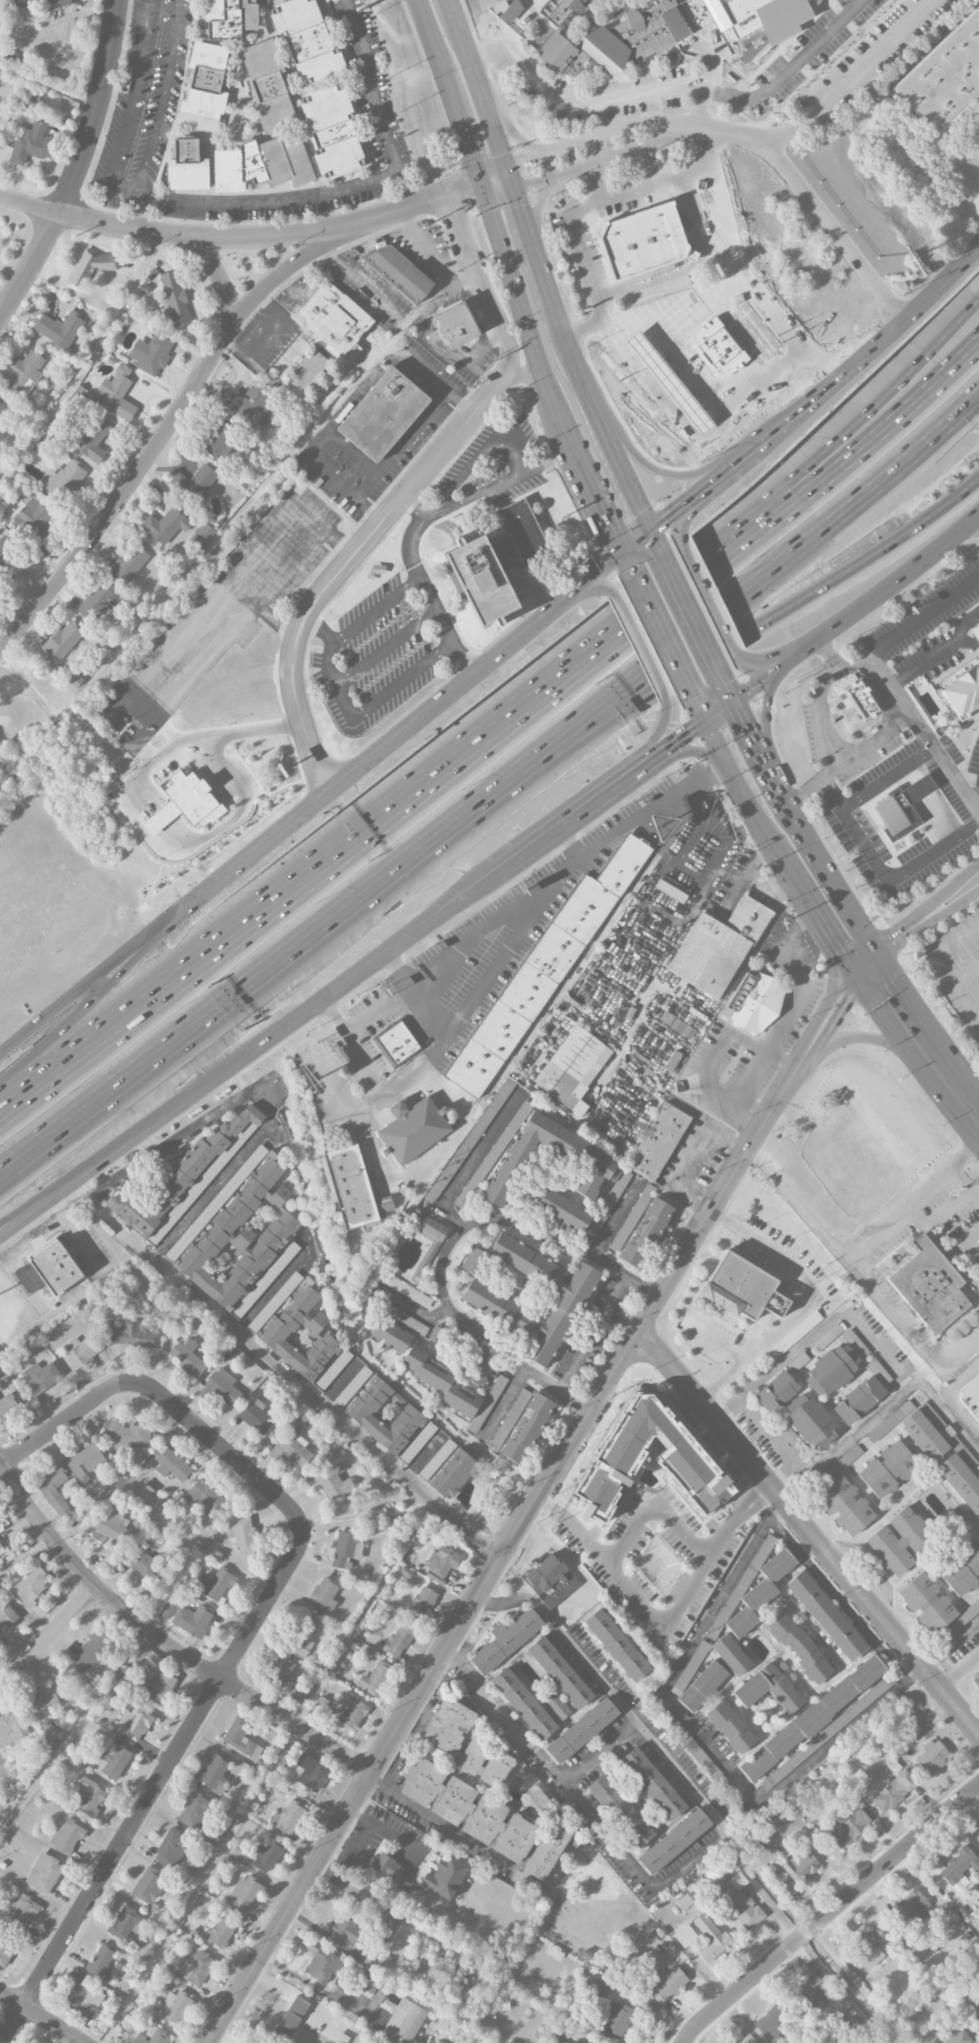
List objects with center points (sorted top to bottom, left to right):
building: (47, 3)
building: (508, 10)
building: (564, 12)
building: (230, 18)
road: (826, 33)
building: (636, 35)
building: (307, 41)
building: (559, 54)
building: (667, 55)
road: (862, 62)
building: (945, 76)
building: (268, 86)
building: (203, 89)
road: (161, 98)
road: (606, 98)
road: (698, 106)
building: (332, 130)
road: (512, 134)
road: (780, 136)
road: (593, 138)
building: (31, 143)
road: (707, 149)
road: (701, 152)
traffic signals: (472, 157)
traffic signals: (529, 159)
road: (599, 161)
road: (78, 163)
building: (262, 164)
building: (187, 166)
road: (598, 169)
road: (597, 182)
road: (642, 183)
road: (466, 188)
traffic signals: (463, 190)
road: (641, 190)
road: (810, 200)
road: (247, 202)
traffic signals: (521, 205)
road: (540, 206)
road: (211, 236)
building: (643, 240)
road: (582, 244)
building: (90, 267)
road: (541, 268)
road: (287, 270)
building: (399, 273)
road: (649, 276)
road: (511, 279)
road: (361, 281)
road: (715, 285)
building: (174, 299)
road: (602, 304)
building: (335, 317)
building: (453, 325)
building: (60, 329)
road: (270, 331)
road: (384, 348)
building: (151, 353)
road: (460, 359)
road: (420, 364)
road: (850, 364)
building: (306, 369)
building: (23, 373)
road: (524, 377)
building: (115, 393)
road: (887, 394)
building: (252, 405)
building: (382, 413)
road: (891, 421)
road: (702, 430)
building: (92, 439)
building: (219, 439)
road: (402, 442)
road: (729, 443)
road: (151, 449)
road: (476, 457)
street lamp: (773, 458)
road: (902, 461)
road: (550, 463)
road: (656, 470)
road: (329, 471)
building: (66, 479)
building: (195, 483)
road: (701, 488)
road: (409, 490)
road: (475, 494)
road: (414, 507)
traffic signals: (671, 514)
road: (667, 516)
building: (30, 517)
road: (760, 517)
road: (682, 519)
road: (763, 523)
building: (165, 525)
traffic signals: (610, 525)
building: (532, 528)
road: (966, 534)
building: (202, 535)
road: (636, 543)
road: (654, 545)
building: (5, 548)
traffic signals: (658, 552)
road: (870, 555)
street lamp: (755, 557)
road: (786, 558)
building: (129, 562)
road: (630, 565)
building: (497, 570)
road: (602, 573)
road: (232, 578)
road: (596, 587)
road: (885, 592)
street lamp: (717, 593)
road: (667, 594)
road: (707, 597)
building: (97, 602)
road: (263, 610)
road: (375, 611)
road: (247, 613)
road: (689, 613)
road: (921, 615)
road: (662, 632)
building: (975, 632)
road: (688, 634)
building: (63, 640)
street lamp: (540, 644)
road: (638, 646)
road: (387, 648)
road: (935, 653)
road: (761, 663)
road: (414, 672)
street lamp: (604, 675)
road: (759, 681)
street lamp: (789, 682)
road: (724, 685)
building: (963, 690)
building: (857, 698)
traffic signals: (693, 700)
road: (695, 704)
road: (903, 708)
road: (765, 710)
road: (717, 711)
road: (609, 717)
traffic signals: (744, 723)
road: (224, 726)
road: (662, 730)
traffic signals: (687, 732)
road: (680, 737)
road: (872, 739)
road: (546, 744)
building: (0, 745)
road: (829, 746)
road: (693, 751)
road: (759, 751)
road: (654, 756)
road: (368, 760)
street lamp: (392, 760)
road: (885, 777)
street lamp: (563, 779)
street lamp: (456, 792)
building: (194, 797)
road: (745, 799)
building: (900, 807)
road: (573, 816)
road: (577, 836)
street lamp: (253, 870)
road: (565, 870)
road: (883, 874)
road: (305, 876)
road: (826, 876)
road: (715, 879)
building: (672, 889)
street lamp: (420, 890)
road: (466, 893)
street lamp: (313, 904)
road: (926, 907)
street lamp: (160, 908)
road: (819, 922)
road: (930, 927)
traffic signals: (895, 932)
building: (717, 947)
traffic signals: (836, 950)
road: (877, 954)
road: (860, 958)
street lamp: (143, 963)
road: (945, 963)
road: (405, 966)
parking lot: (956, 966)
building: (543, 969)
road: (968, 973)
road: (871, 974)
road: (854, 978)
traffic signals: (897, 982)
road: (233, 992)
road: (80, 994)
street lamp: (279, 1001)
building: (754, 1002)
road: (793, 1004)
traffic signals: (847, 1005)
street lamp: (179, 1007)
road: (978, 1010)
road: (917, 1012)
road: (82, 1014)
road: (882, 1017)
road: (835, 1023)
road: (813, 1025)
road: (856, 1037)
building: (396, 1043)
street lamp: (20, 1049)
road: (255, 1049)
road: (715, 1055)
road: (923, 1058)
building: (573, 1067)
road: (800, 1073)
road: (236, 1083)
road: (884, 1090)
street lamp: (68, 1092)
road: (960, 1093)
road: (264, 1096)
building: (413, 1130)
building: (469, 1140)
building: (658, 1141)
road: (693, 1153)
building: (601, 1164)
street lamp: (49, 1178)
road: (392, 1179)
building: (183, 1180)
road: (966, 1184)
building: (354, 1187)
road: (64, 1192)
building: (608, 1203)
road: (912, 1205)
building: (559, 1208)
road: (28, 1214)
road: (28, 1219)
building: (236, 1231)
building: (646, 1233)
building: (432, 1235)
road: (563, 1245)
road: (840, 1258)
road: (11, 1260)
building: (473, 1260)
building: (56, 1264)
road: (101, 1267)
building: (421, 1270)
road: (441, 1271)
building: (265, 1279)
building: (929, 1285)
building: (743, 1287)
road: (813, 1300)
building: (503, 1309)
road: (591, 1331)
building: (129, 1334)
road: (814, 1335)
road: (25, 1336)
building: (391, 1336)
road: (714, 1340)
road: (956, 1349)
building: (81, 1350)
building: (187, 1358)
building: (480, 1365)
building: (333, 1370)
building: (832, 1370)
road: (283, 1376)
building: (41, 1378)
building: (221, 1388)
building: (452, 1388)
building: (776, 1391)
road: (951, 1397)
building: (970, 1397)
building: (858, 1400)
building: (7, 1406)
road: (884, 1409)
building: (358, 1411)
building: (256, 1416)
road: (63, 1420)
building: (810, 1421)
building: (522, 1425)
building: (783, 1428)
building: (127, 1435)
building: (923, 1435)
building: (417, 1442)
road: (777, 1442)
building: (291, 1447)
building: (619, 1455)
building: (84, 1461)
building: (171, 1463)
building: (447, 1469)
building: (887, 1469)
building: (961, 1481)
building: (333, 1483)
building: (55, 1493)
building: (203, 1495)
building: (845, 1505)
road: (652, 1510)
building: (390, 1521)
building: (2, 1526)
building: (112, 1527)
road: (810, 1531)
building: (242, 1535)
building: (900, 1540)
building: (1, 1549)
building: (346, 1550)
building: (142, 1563)
building: (441, 1564)
road: (497, 1564)
building: (962, 1570)
building: (747, 1578)
building: (550, 1580)
building: (216, 1581)
building: (760, 1583)
building: (30, 1586)
road: (168, 1588)
building: (324, 1596)
building: (422, 1603)
building: (933, 1605)
building: (167, 1610)
building: (826, 1615)
building: (192, 1620)
road: (661, 1622)
road: (51, 1634)
building: (398, 1640)
building: (506, 1640)
road: (568, 1640)
road: (165, 1641)
building: (301, 1642)
road: (950, 1643)
building: (616, 1644)
building: (799, 1646)
building: (91, 1651)
building: (732, 1656)
road: (957, 1666)
building: (278, 1672)
building: (559, 1672)
building: (375, 1678)
building: (976, 1681)
building: (702, 1686)
building: (158, 1687)
road: (213, 1687)
building: (768, 1687)
building: (297, 1692)
road: (491, 1695)
building: (523, 1703)
building: (555, 1704)
building: (43, 1705)
building: (319, 1705)
building: (353, 1713)
building: (812, 1717)
building: (134, 1723)
building: (449, 1725)
building: (731, 1727)
building: (11, 1728)
building: (581, 1730)
building: (826, 1733)
building: (912, 1733)
building: (241, 1738)
road: (704, 1745)
road: (600, 1752)
building: (931, 1756)
building: (111, 1762)
building: (484, 1762)
road: (267, 1771)
building: (212, 1773)
building: (308, 1774)
building: (652, 1783)
building: (892, 1791)
building: (87, 1795)
building: (194, 1810)
building: (620, 1810)
building: (288, 1817)
building: (488, 1821)
road: (437, 1822)
building: (849, 1828)
building: (67, 1836)
road: (399, 1837)
road: (360, 1838)
building: (674, 1841)
building: (172, 1848)
building: (266, 1857)
building: (799, 1865)
building: (387, 1866)
building: (953, 1867)
building: (44, 1873)
road: (670, 1874)
building: (446, 1875)
building: (148, 1884)
building: (243, 1894)
building: (737, 1900)
building: (684, 1902)
building: (22, 1909)
building: (908, 1909)
road: (830, 1912)
building: (124, 1923)
building: (345, 1931)
building: (222, 1932)
building: (685, 1936)
building: (710, 1938)
building: (867, 1949)
building: (4, 1951)
building: (101, 1963)
building: (322, 1966)
building: (193, 1968)
building: (365, 1982)
building: (596, 1984)
building: (665, 1984)
building: (813, 1991)
building: (83, 1999)
building: (174, 2007)
building: (975, 2010)
building: (292, 2016)
road: (42, 2017)
building: (399, 2017)
building: (616, 2019)
building: (772, 2022)
building: (951, 2035)
building: (152, 2036)
road: (473, 2040)
building: (437, 2041)
building: (583, 2041)
building: (37, 2042)

